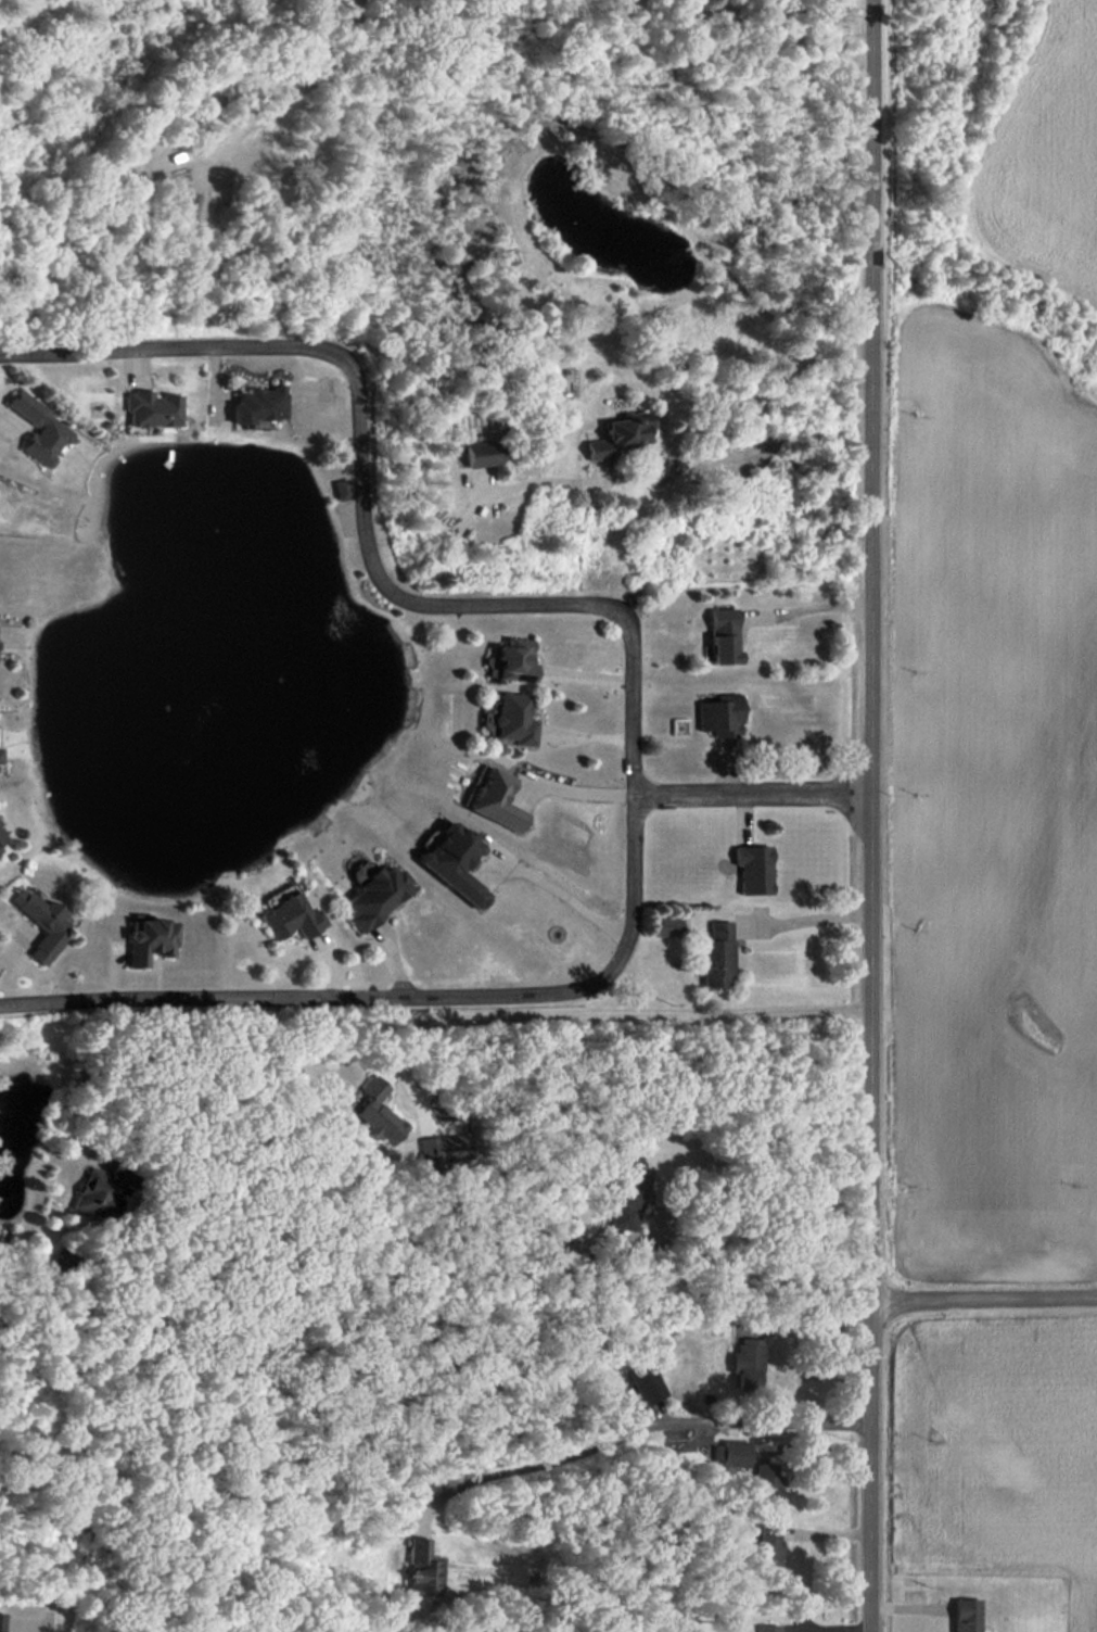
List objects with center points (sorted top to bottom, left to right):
road: (317, 77)
building: (259, 406)
road: (725, 407)
building: (153, 408)
building: (41, 430)
building: (622, 434)
building: (483, 453)
building: (344, 489)
road: (806, 607)
building: (724, 636)
building: (516, 660)
road: (634, 687)
building: (722, 716)
building: (515, 719)
building: (1, 756)
road: (579, 792)
road: (754, 792)
building: (497, 800)
road: (872, 815)
building: (1, 837)
building: (0, 850)
building: (456, 862)
building: (754, 869)
building: (378, 897)
road: (566, 897)
building: (292, 918)
building: (44, 921)
road: (806, 922)
building: (671, 925)
building: (152, 940)
building: (716, 956)
road: (548, 1015)
building: (380, 1112)
building: (446, 1148)
building: (92, 1189)
building: (630, 1199)
road: (731, 1237)
road: (983, 1296)
road: (813, 1321)
building: (748, 1364)
building: (645, 1382)
road: (642, 1428)
building: (732, 1453)
building: (765, 1484)
building: (767, 1548)
building: (424, 1569)
building: (966, 1615)
building: (729, 1618)
building: (1, 1622)
road: (48, 1629)

